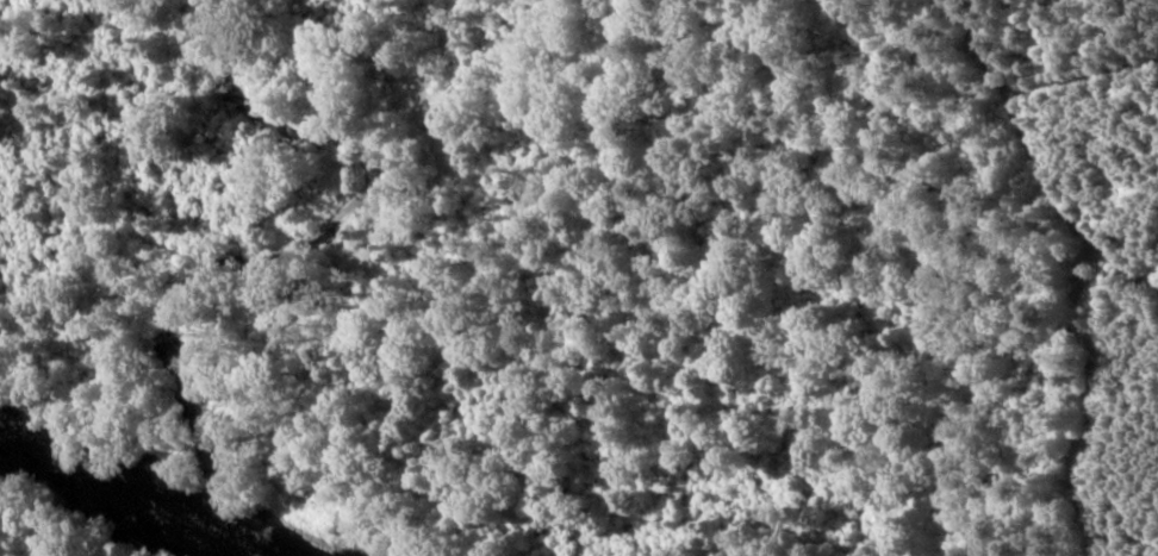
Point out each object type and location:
road: (1025, 177)

